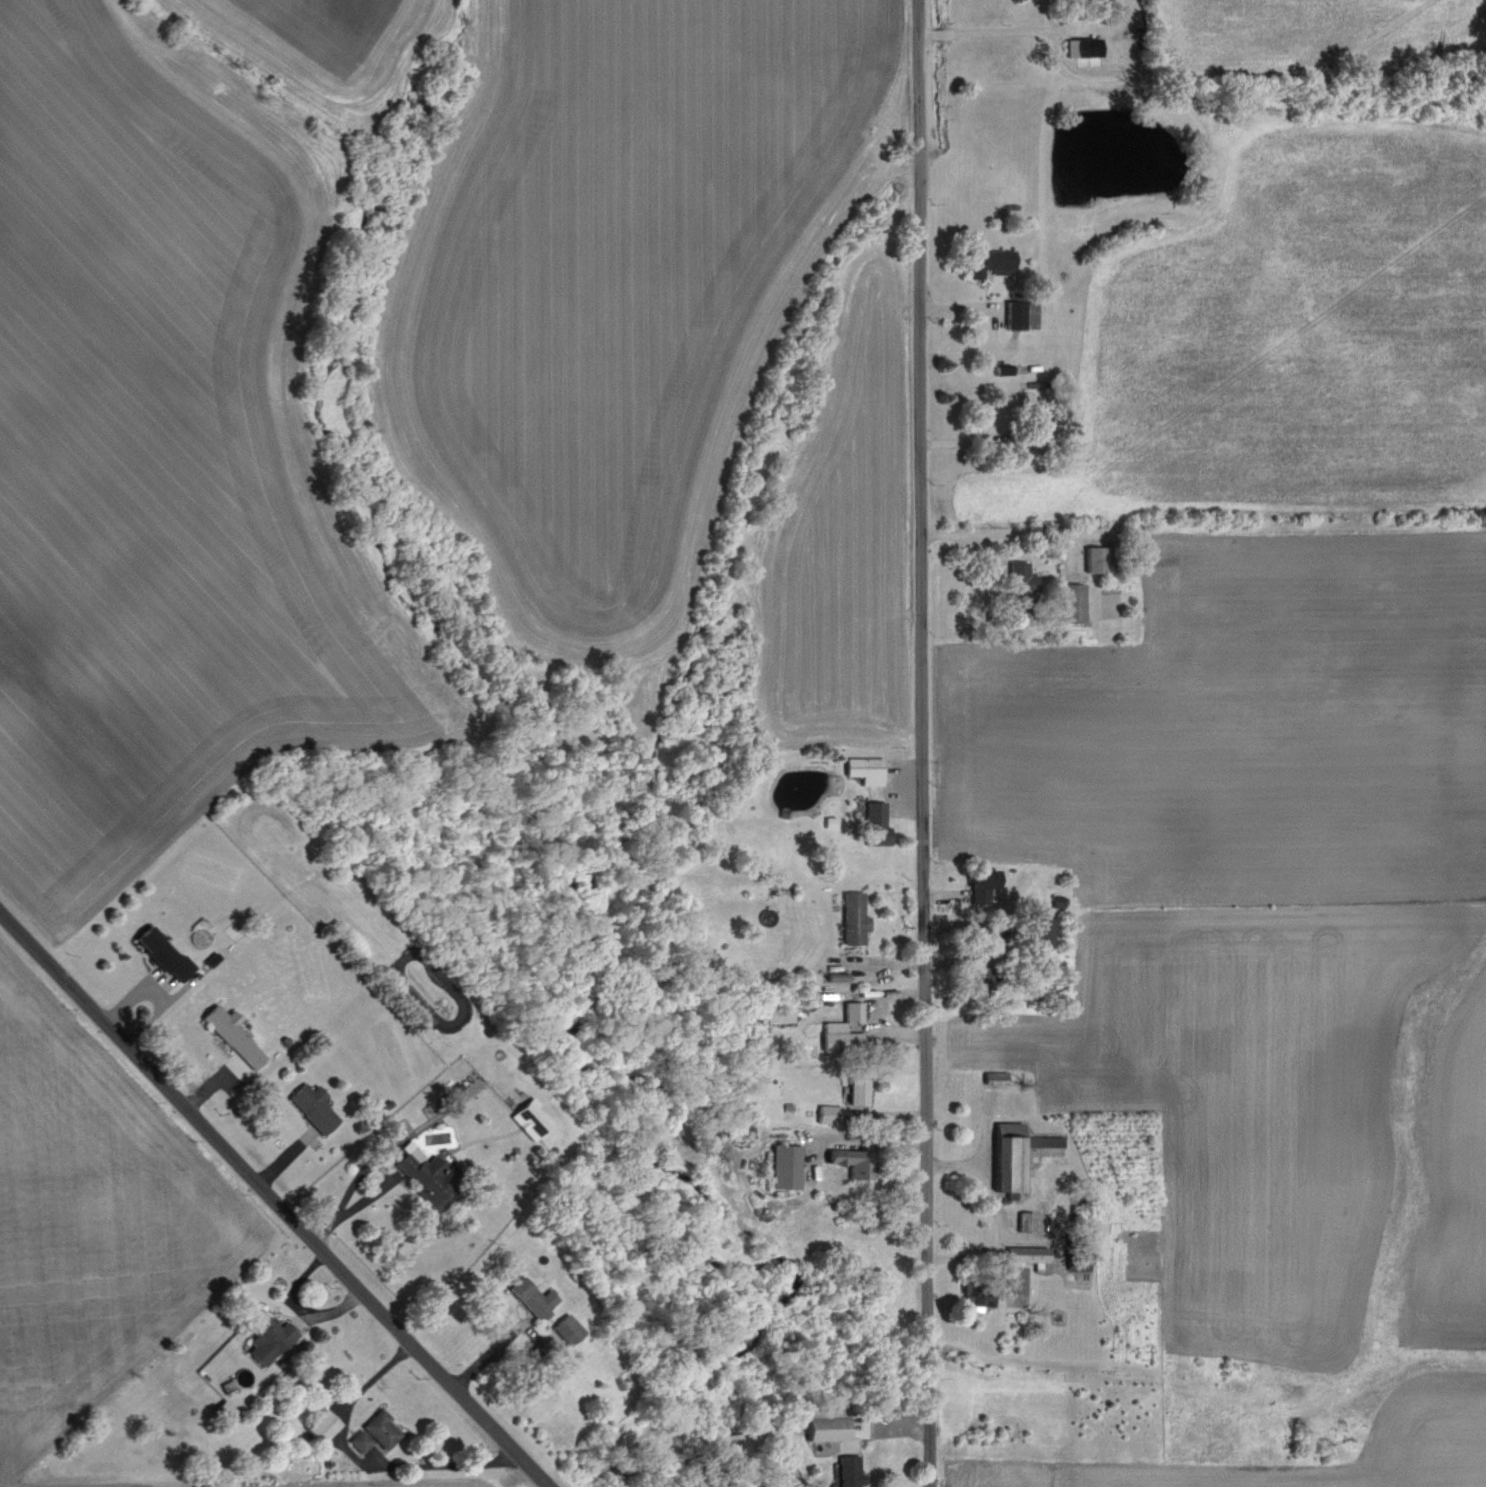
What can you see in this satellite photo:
road: (996, 30)
building: (1085, 45)
road: (1269, 71)
building: (992, 261)
building: (1021, 313)
road: (988, 327)
building: (1100, 558)
building: (1074, 601)
road: (915, 743)
building: (867, 768)
building: (876, 823)
building: (983, 890)
building: (854, 917)
building: (1046, 931)
building: (780, 1013)
building: (843, 1029)
building: (234, 1033)
building: (314, 1106)
building: (828, 1116)
building: (530, 1118)
building: (1016, 1154)
building: (854, 1161)
building: (786, 1165)
building: (427, 1169)
road: (381, 1183)
road: (271, 1201)
road: (993, 1217)
building: (1026, 1220)
building: (1029, 1254)
building: (534, 1296)
building: (979, 1298)
building: (568, 1327)
building: (270, 1336)
building: (223, 1407)
building: (323, 1423)
building: (831, 1426)
building: (381, 1427)
building: (360, 1438)
road: (360, 1462)
building: (851, 1470)

